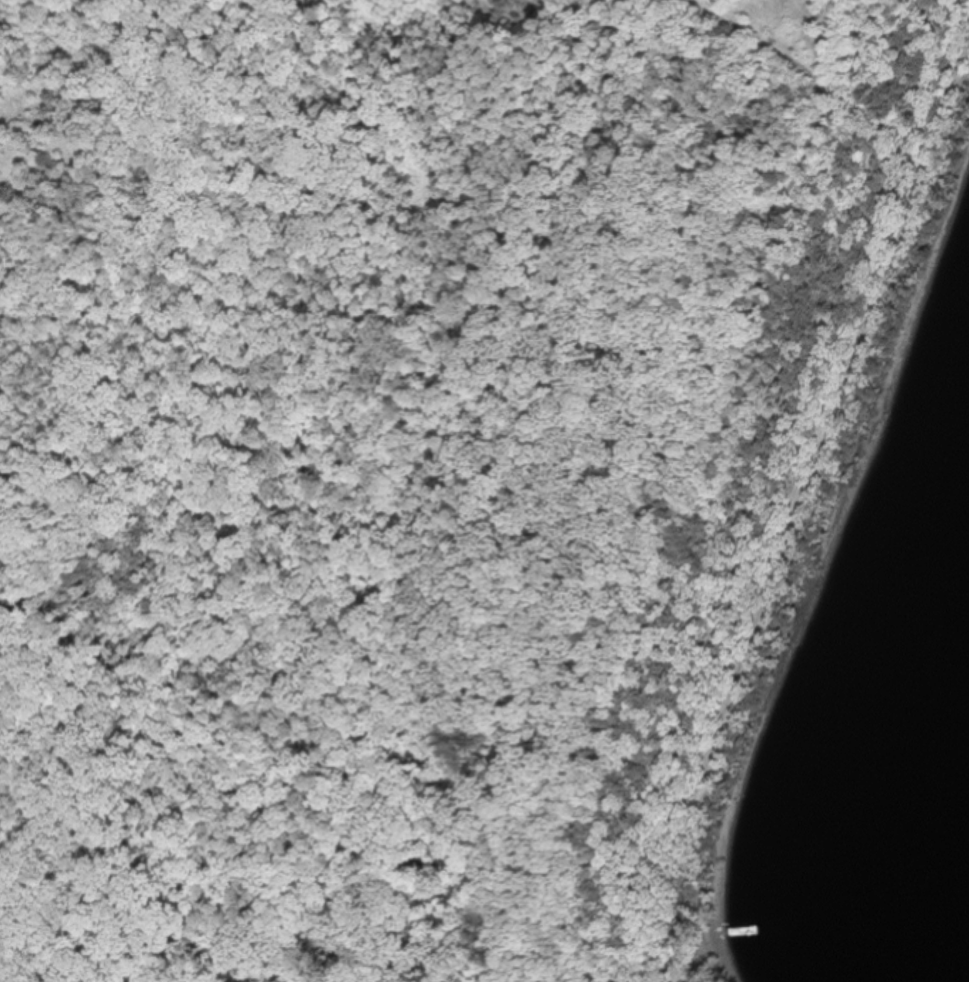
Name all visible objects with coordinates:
road: (35, 31)
road: (29, 103)
road: (25, 193)
road: (28, 320)
road: (518, 421)
road: (820, 449)
park: (432, 461)
road: (661, 931)

